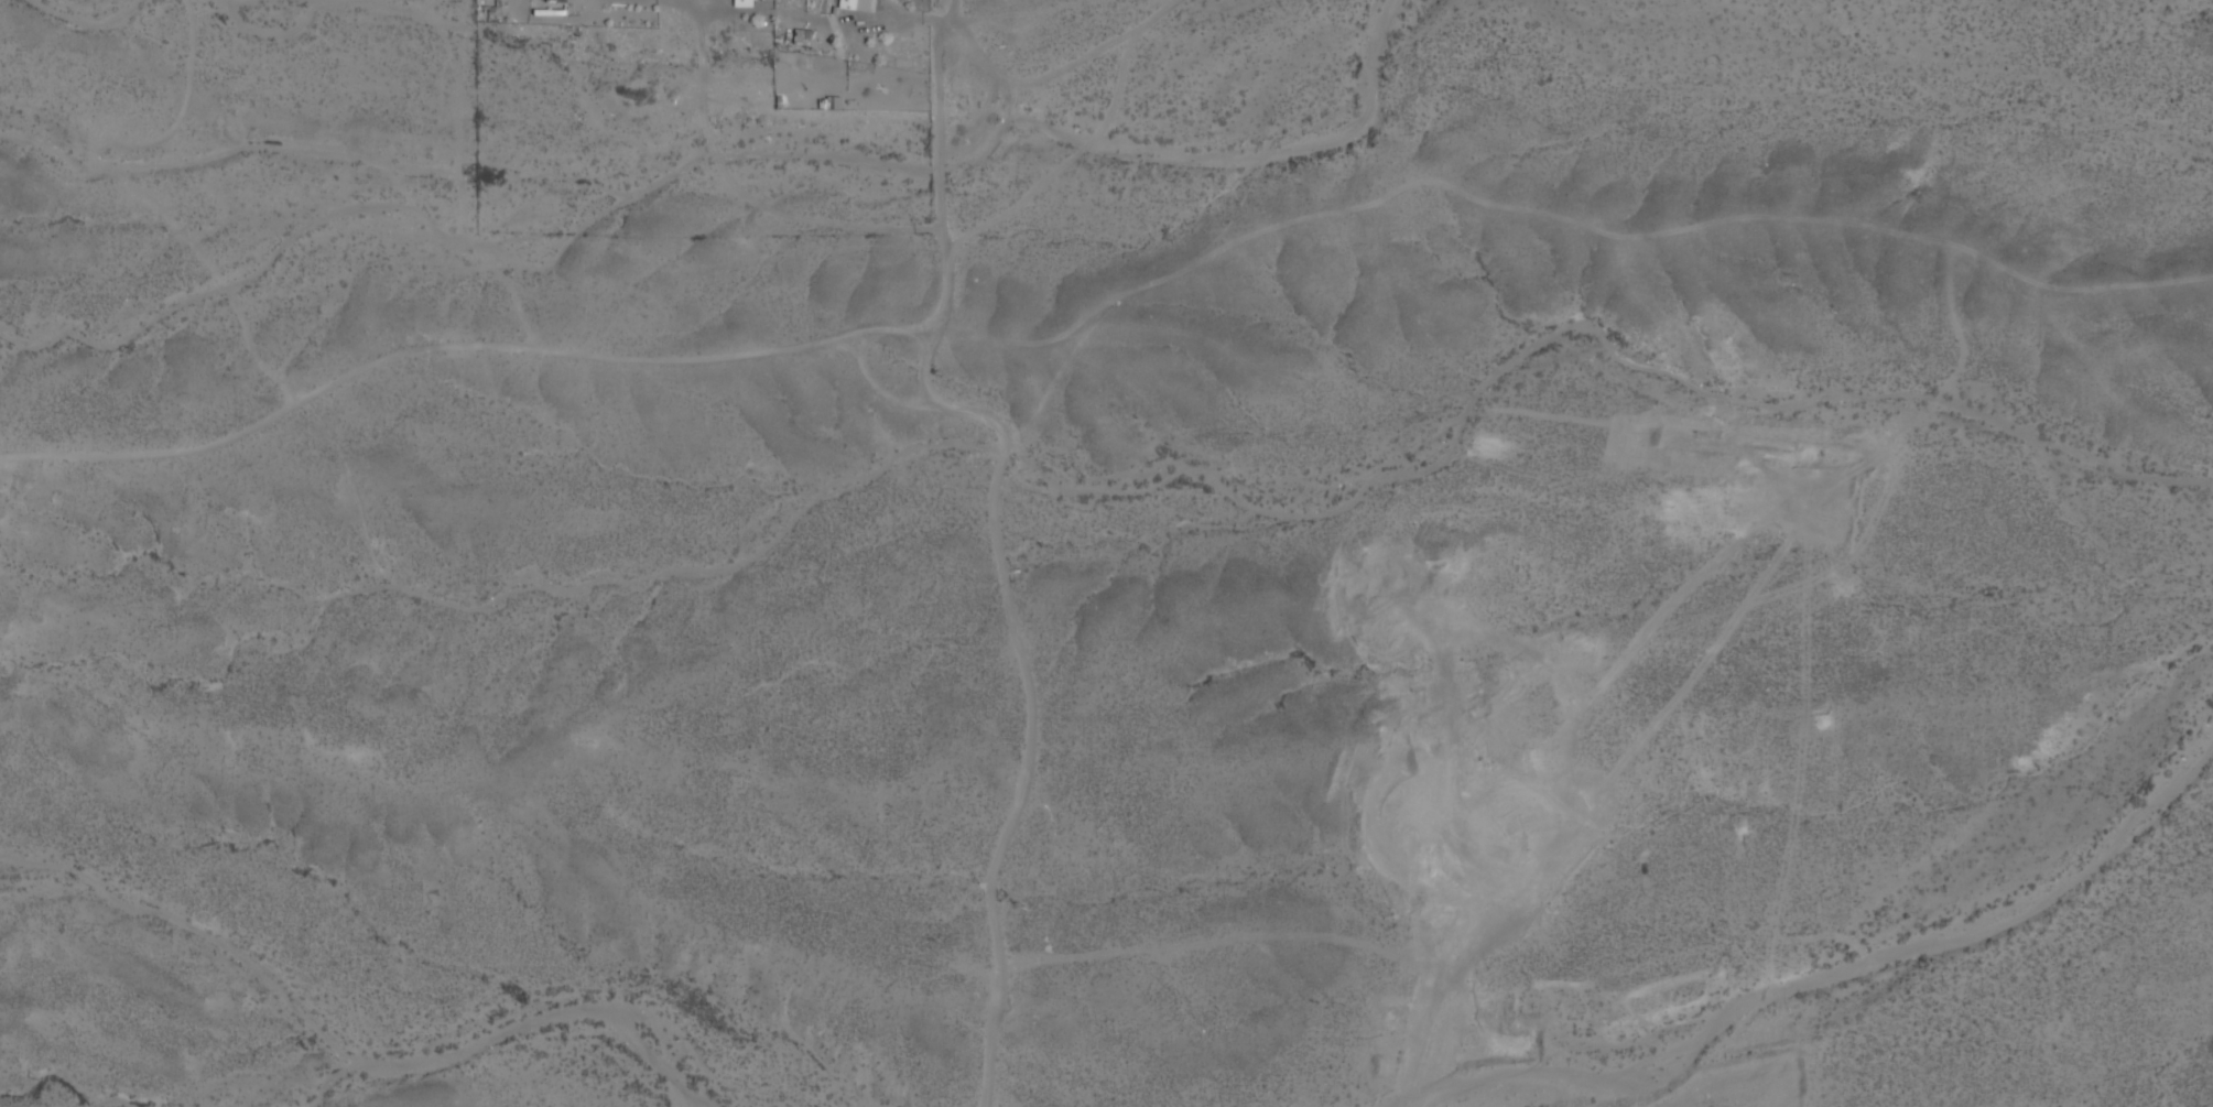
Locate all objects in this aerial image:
building: (807, 40)

